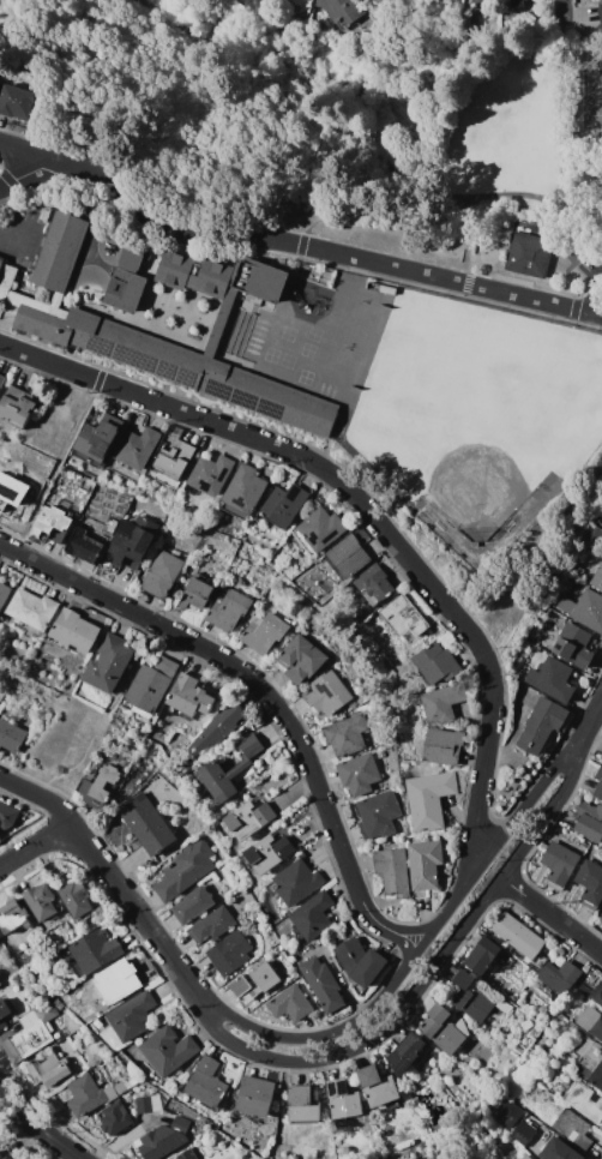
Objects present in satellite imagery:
building: (381, 2)
building: (302, 4)
building: (523, 4)
road: (161, 7)
building: (601, 10)
road: (561, 11)
building: (342, 12)
road: (82, 37)
road: (435, 55)
building: (16, 102)
road: (561, 127)
park: (327, 132)
road: (582, 148)
road: (373, 151)
road: (28, 175)
road: (375, 210)
road: (20, 234)
road: (291, 242)
road: (302, 244)
building: (528, 250)
building: (194, 275)
building: (126, 282)
road: (595, 296)
building: (242, 310)
building: (145, 338)
building: (2, 380)
building: (17, 407)
building: (97, 443)
building: (138, 448)
building: (173, 464)
building: (210, 475)
building: (12, 491)
building: (243, 492)
road: (363, 503)
building: (285, 505)
building: (53, 524)
building: (109, 526)
building: (319, 530)
building: (592, 534)
building: (133, 542)
building: (84, 547)
building: (348, 557)
building: (0, 575)
building: (162, 575)
building: (597, 577)
building: (374, 585)
building: (198, 593)
building: (4, 594)
building: (228, 608)
building: (584, 609)
building: (34, 612)
building: (404, 617)
building: (74, 632)
building: (264, 632)
building: (573, 644)
building: (300, 660)
building: (109, 663)
building: (438, 663)
building: (552, 679)
road: (254, 681)
building: (151, 686)
building: (327, 693)
building: (189, 697)
building: (440, 704)
building: (541, 725)
building: (217, 728)
road: (586, 731)
building: (347, 735)
building: (11, 737)
building: (443, 746)
building: (230, 770)
building: (360, 775)
building: (598, 785)
building: (101, 786)
building: (429, 799)
building: (378, 815)
building: (7, 816)
building: (248, 821)
building: (589, 822)
building: (146, 824)
road: (35, 847)
building: (267, 854)
building: (425, 864)
building: (559, 864)
building: (185, 871)
building: (393, 872)
building: (296, 882)
road: (115, 884)
building: (590, 884)
building: (76, 897)
building: (41, 902)
building: (192, 906)
building: (102, 912)
road: (553, 915)
building: (13, 917)
building: (312, 917)
building: (212, 925)
road: (415, 930)
building: (518, 936)
road: (407, 945)
road: (419, 951)
building: (95, 953)
building: (229, 953)
building: (482, 956)
building: (360, 962)
building: (559, 977)
road: (426, 979)
building: (257, 983)
building: (323, 984)
building: (591, 992)
building: (475, 998)
building: (291, 1004)
building: (4, 1011)
building: (132, 1016)
building: (590, 1021)
building: (444, 1029)
building: (31, 1034)
building: (169, 1050)
building: (407, 1055)
building: (584, 1069)
building: (50, 1070)
building: (596, 1077)
building: (207, 1085)
building: (378, 1087)
building: (91, 1094)
building: (252, 1097)
building: (344, 1101)
building: (585, 1101)
building: (148, 1104)
building: (302, 1105)
building: (506, 1112)
building: (115, 1118)
building: (573, 1128)
road: (40, 1130)
building: (523, 1134)
building: (162, 1139)
building: (559, 1151)
building: (187, 1154)
building: (224, 1154)
building: (4, 1157)
building: (526, 1157)

